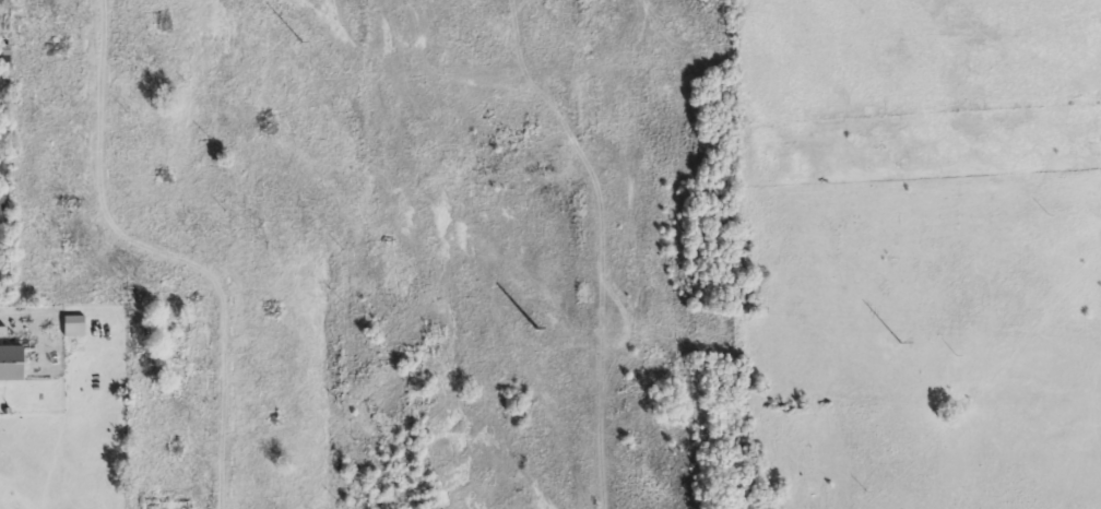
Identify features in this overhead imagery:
power tower: (301, 40)
building: (2, 169)
building: (2, 203)
road: (167, 252)
building: (73, 327)
power tower: (538, 328)
building: (166, 330)
power tower: (901, 343)
building: (11, 364)
building: (164, 376)
building: (166, 506)

